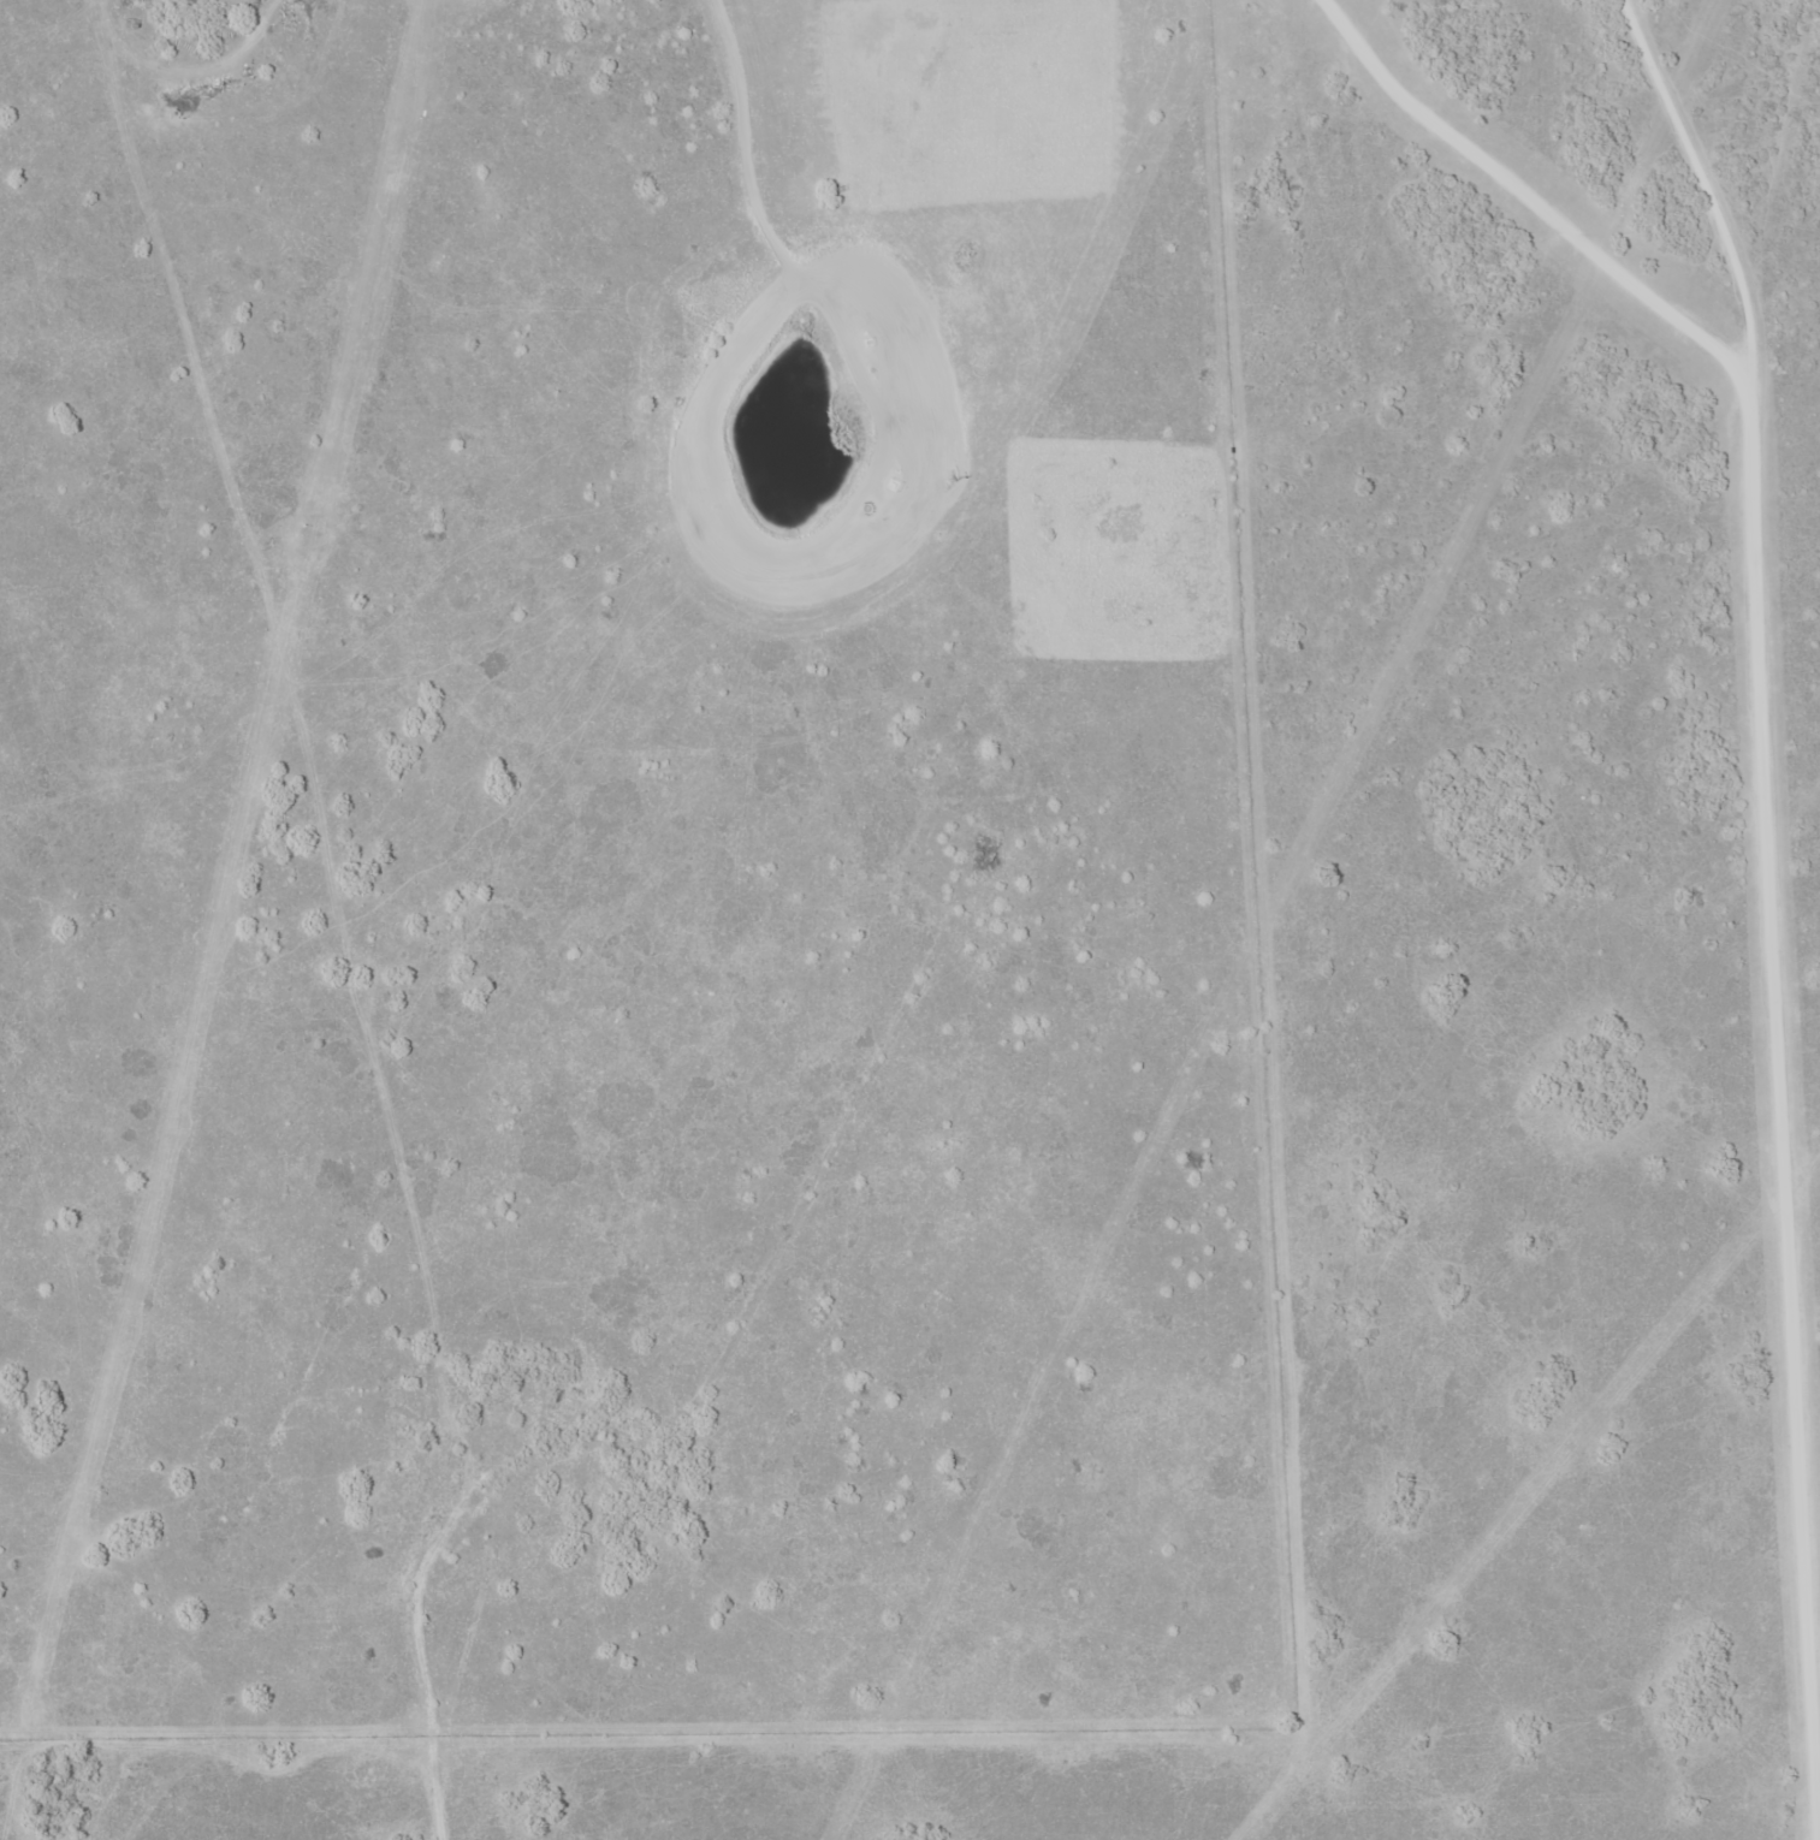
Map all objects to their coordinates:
road: (1736, 547)
road: (1612, 912)

